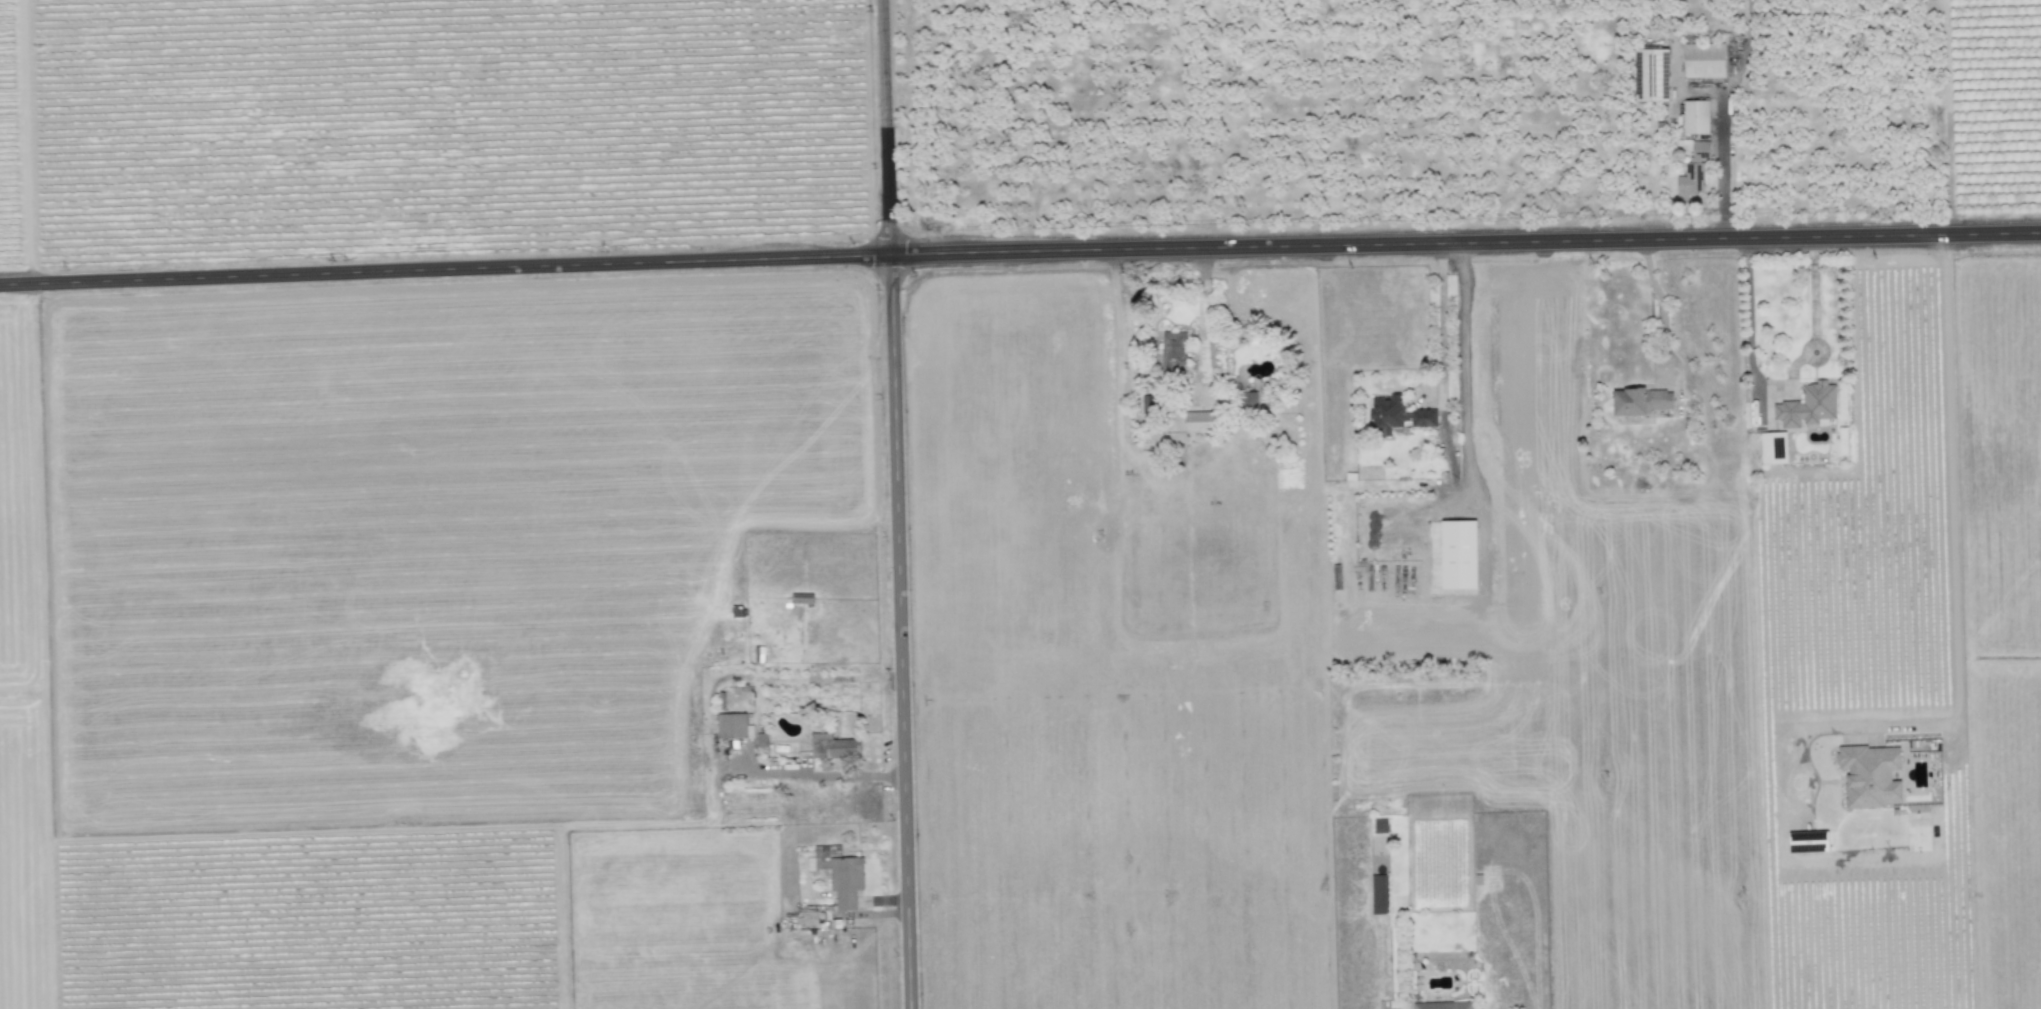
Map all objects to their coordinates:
building: (1704, 60)
building: (1652, 74)
building: (1696, 117)
road: (1721, 171)
building: (1693, 172)
road: (1020, 252)
road: (1813, 290)
road: (1660, 302)
road: (1202, 322)
road: (1805, 346)
building: (1172, 350)
road: (1748, 351)
road: (1458, 364)
building: (1249, 399)
building: (1643, 401)
building: (1148, 406)
building: (1808, 406)
building: (1396, 415)
building: (1201, 422)
building: (1774, 448)
road: (893, 504)
building: (1457, 558)
road: (1955, 583)
building: (801, 598)
building: (758, 655)
building: (732, 726)
building: (761, 740)
building: (833, 747)
road: (818, 774)
building: (1870, 776)
building: (1381, 826)
building: (844, 880)
building: (1379, 894)

